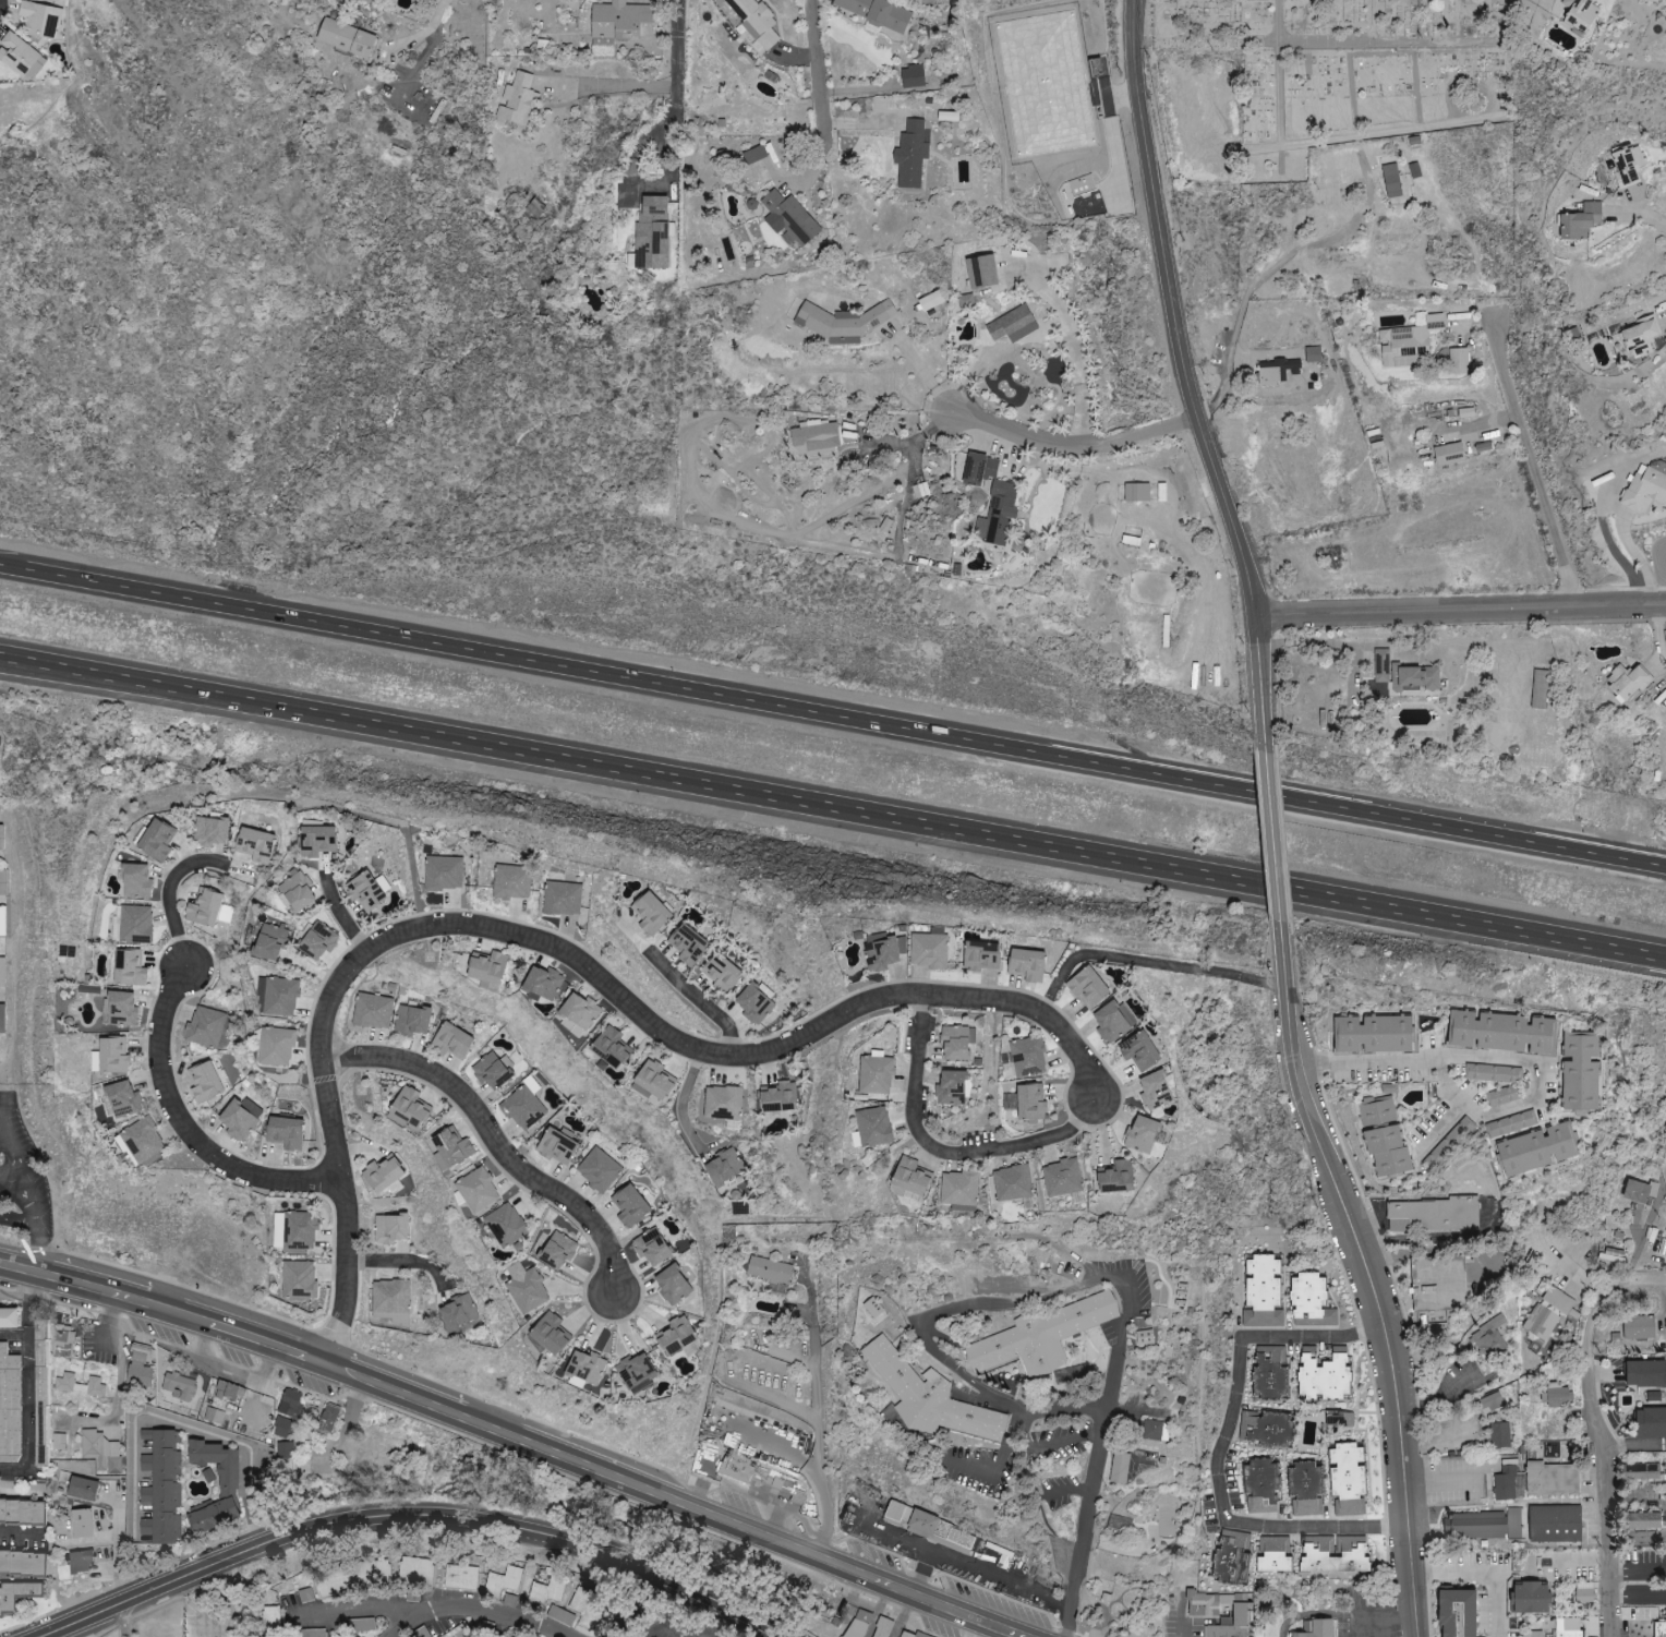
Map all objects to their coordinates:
building: (879, 14)
building: (1580, 14)
building: (39, 20)
building: (621, 20)
building: (753, 20)
road: (424, 32)
building: (346, 37)
building: (16, 53)
road: (673, 61)
building: (912, 76)
road: (606, 91)
road: (819, 96)
road: (793, 99)
building: (518, 100)
building: (910, 154)
building: (754, 155)
building: (1628, 165)
building: (1391, 181)
road: (644, 193)
building: (1085, 197)
building: (535, 208)
road: (1638, 212)
building: (788, 218)
building: (1580, 221)
building: (652, 233)
building: (980, 272)
road: (1259, 279)
building: (930, 301)
building: (843, 322)
building: (1009, 324)
building: (1641, 336)
building: (1408, 342)
building: (1313, 354)
road: (1075, 359)
building: (1458, 361)
building: (1277, 372)
road: (1183, 386)
building: (814, 438)
road: (1069, 446)
building: (1449, 455)
road: (1530, 465)
building: (979, 469)
building: (1645, 488)
building: (1136, 492)
building: (998, 514)
building: (1130, 540)
road: (1458, 613)
road: (1368, 646)
building: (1381, 665)
building: (1417, 677)
building: (1627, 682)
building: (1538, 690)
road: (833, 719)
road: (833, 814)
building: (210, 831)
building: (0, 839)
building: (156, 840)
building: (316, 841)
building: (254, 845)
road: (1268, 850)
building: (443, 874)
building: (3, 882)
building: (136, 882)
building: (511, 882)
building: (364, 891)
road: (169, 892)
building: (562, 899)
building: (207, 910)
building: (651, 914)
road: (340, 915)
building: (2, 922)
building: (134, 925)
building: (317, 941)
building: (269, 942)
building: (688, 946)
road: (564, 951)
building: (928, 951)
building: (883, 952)
building: (980, 955)
road: (1148, 961)
building: (1027, 965)
building: (129, 968)
building: (2, 972)
building: (488, 972)
building: (721, 973)
building: (543, 984)
building: (1088, 987)
building: (277, 997)
road: (699, 1002)
building: (756, 1002)
building: (119, 1009)
building: (372, 1011)
building: (579, 1014)
building: (2, 1019)
building: (411, 1021)
building: (1112, 1022)
building: (205, 1027)
building: (1501, 1033)
building: (1374, 1035)
building: (451, 1042)
building: (958, 1044)
building: (275, 1047)
building: (612, 1048)
building: (1139, 1051)
building: (110, 1057)
building: (493, 1071)
building: (1581, 1072)
building: (1493, 1073)
building: (876, 1075)
building: (653, 1082)
building: (204, 1083)
building: (951, 1088)
building: (1389, 1090)
building: (1156, 1091)
street lamp: (1326, 1093)
building: (1501, 1097)
road: (679, 1098)
building: (123, 1099)
building: (780, 1100)
building: (723, 1104)
building: (1030, 1104)
building: (523, 1108)
building: (409, 1110)
road: (1474, 1110)
building: (1376, 1111)
building: (240, 1118)
building: (1511, 1124)
building: (873, 1128)
road: (190, 1129)
building: (285, 1133)
building: (1142, 1135)
road: (495, 1141)
building: (141, 1142)
building: (558, 1147)
building: (450, 1149)
road: (941, 1149)
building: (1538, 1151)
building: (1388, 1153)
road: (9, 1158)
building: (724, 1168)
building: (599, 1171)
building: (383, 1175)
road: (9, 1178)
building: (1061, 1178)
building: (1116, 1178)
building: (1012, 1183)
building: (958, 1189)
building: (478, 1191)
building: (1637, 1191)
building: (630, 1206)
road: (14, 1212)
building: (1433, 1215)
building: (505, 1225)
street lamp: (1321, 1227)
road: (32, 1228)
building: (389, 1228)
building: (651, 1247)
building: (556, 1249)
road: (398, 1265)
building: (769, 1269)
road: (16, 1272)
building: (299, 1279)
road: (1369, 1279)
building: (1439, 1283)
building: (673, 1285)
building: (526, 1288)
road: (808, 1290)
building: (1263, 1292)
building: (390, 1300)
building: (1311, 1301)
building: (1556, 1301)
road: (981, 1302)
street lamp: (1403, 1303)
road: (27, 1304)
building: (458, 1312)
building: (9, 1317)
building: (1540, 1323)
building: (1639, 1327)
building: (551, 1333)
road: (14, 1335)
building: (675, 1336)
building: (1041, 1336)
building: (1487, 1337)
building: (62, 1341)
building: (140, 1367)
building: (40, 1368)
road: (119, 1369)
building: (583, 1369)
building: (636, 1373)
road: (361, 1374)
building: (1324, 1374)
building: (1645, 1375)
building: (79, 1385)
building: (179, 1386)
building: (229, 1391)
building: (1555, 1395)
building: (929, 1398)
building: (1489, 1401)
building: (9, 1403)
road: (27, 1413)
road: (1318, 1413)
road: (149, 1415)
building: (213, 1416)
building: (328, 1418)
building: (1651, 1422)
building: (282, 1428)
building: (1265, 1428)
building: (1155, 1430)
road: (1594, 1432)
building: (1499, 1435)
street lamp: (1376, 1439)
road: (817, 1441)
building: (58, 1442)
road: (1631, 1445)
road: (1221, 1447)
building: (285, 1449)
building: (100, 1451)
building: (218, 1465)
building: (1131, 1465)
building: (1553, 1471)
building: (1640, 1471)
building: (757, 1474)
building: (1348, 1479)
building: (1505, 1484)
building: (1260, 1486)
building: (83, 1488)
building: (164, 1489)
building: (1305, 1490)
building: (22, 1510)
building: (897, 1512)
building: (213, 1515)
road: (412, 1515)
building: (1643, 1520)
building: (1164, 1521)
building: (81, 1522)
building: (1555, 1522)
building: (1483, 1525)
road: (758, 1530)
building: (941, 1531)
road: (21, 1532)
street lamp: (229, 1532)
road: (1078, 1533)
building: (1317, 1545)
building: (1273, 1554)
building: (80, 1561)
building: (22, 1562)
road: (970, 1563)
road: (1637, 1569)
building: (415, 1570)
road: (923, 1570)
road: (1482, 1570)
building: (373, 1573)
building: (461, 1577)
building: (503, 1581)
building: (333, 1582)
building: (547, 1590)
street lamp: (653, 1592)
building: (1584, 1592)
building: (16, 1593)
building: (1531, 1597)
road: (928, 1599)
road: (631, 1604)
building: (1206, 1604)
building: (584, 1608)
road: (363, 1612)
road: (481, 1612)
building: (1459, 1612)
road: (1182, 1614)
building: (559, 1615)
road: (1641, 1615)
building: (271, 1617)
road: (123, 1620)
road: (1385, 1620)
building: (859, 1624)
building: (1231, 1624)
building: (1570, 1627)
building: (1659, 1629)
building: (459, 1632)
building: (913, 1634)
building: (1531, 1634)
building: (339, 1636)

